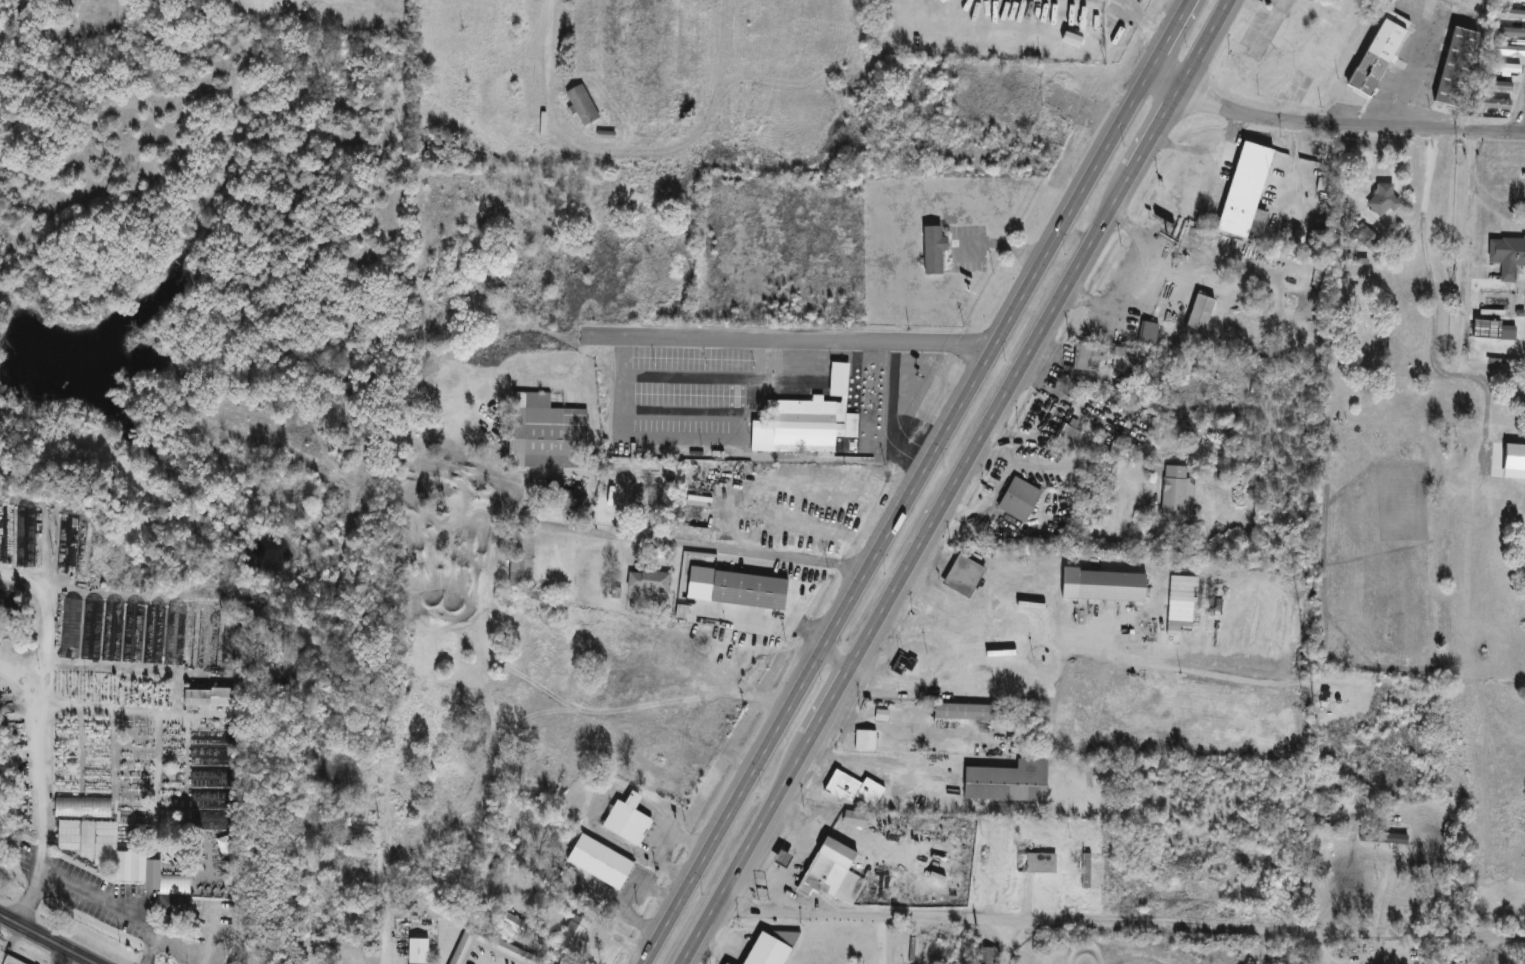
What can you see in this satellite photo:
building: (1520, 0)
building: (24, 2)
building: (1512, 13)
building: (1507, 31)
building: (581, 36)
building: (683, 38)
road: (545, 40)
building: (1505, 50)
building: (1378, 53)
building: (1452, 65)
building: (1501, 66)
building: (1490, 102)
building: (581, 104)
road: (1521, 120)
road: (1333, 124)
road: (617, 140)
building: (1244, 192)
building: (1381, 201)
building: (1367, 239)
building: (932, 251)
building: (1506, 255)
road: (1128, 279)
road: (1033, 284)
road: (1064, 288)
building: (1198, 314)
building: (1492, 330)
building: (1147, 333)
road: (803, 339)
building: (1088, 356)
building: (1127, 357)
building: (1505, 367)
road: (1444, 371)
building: (1377, 404)
building: (1511, 414)
building: (796, 426)
building: (1066, 429)
building: (543, 433)
road: (1062, 461)
building: (1175, 495)
building: (565, 497)
building: (1017, 499)
road: (987, 500)
building: (626, 502)
road: (704, 546)
building: (519, 559)
building: (647, 580)
building: (1109, 585)
building: (747, 589)
road: (838, 656)
building: (901, 665)
building: (209, 697)
building: (963, 712)
building: (5, 716)
building: (863, 740)
road: (758, 765)
road: (792, 771)
building: (397, 778)
building: (1006, 782)
building: (854, 789)
road: (39, 796)
building: (1320, 815)
building: (624, 819)
building: (350, 825)
building: (1382, 837)
building: (88, 840)
building: (223, 845)
building: (597, 861)
building: (1039, 862)
road: (393, 869)
building: (822, 870)
building: (1084, 870)
building: (167, 890)
road: (109, 906)
road: (1120, 921)
building: (513, 923)
building: (573, 931)
road: (877, 936)
road: (49, 938)
road: (173, 946)
building: (768, 947)
building: (491, 948)
building: (416, 951)
road: (53, 953)
building: (987, 955)
building: (724, 963)

